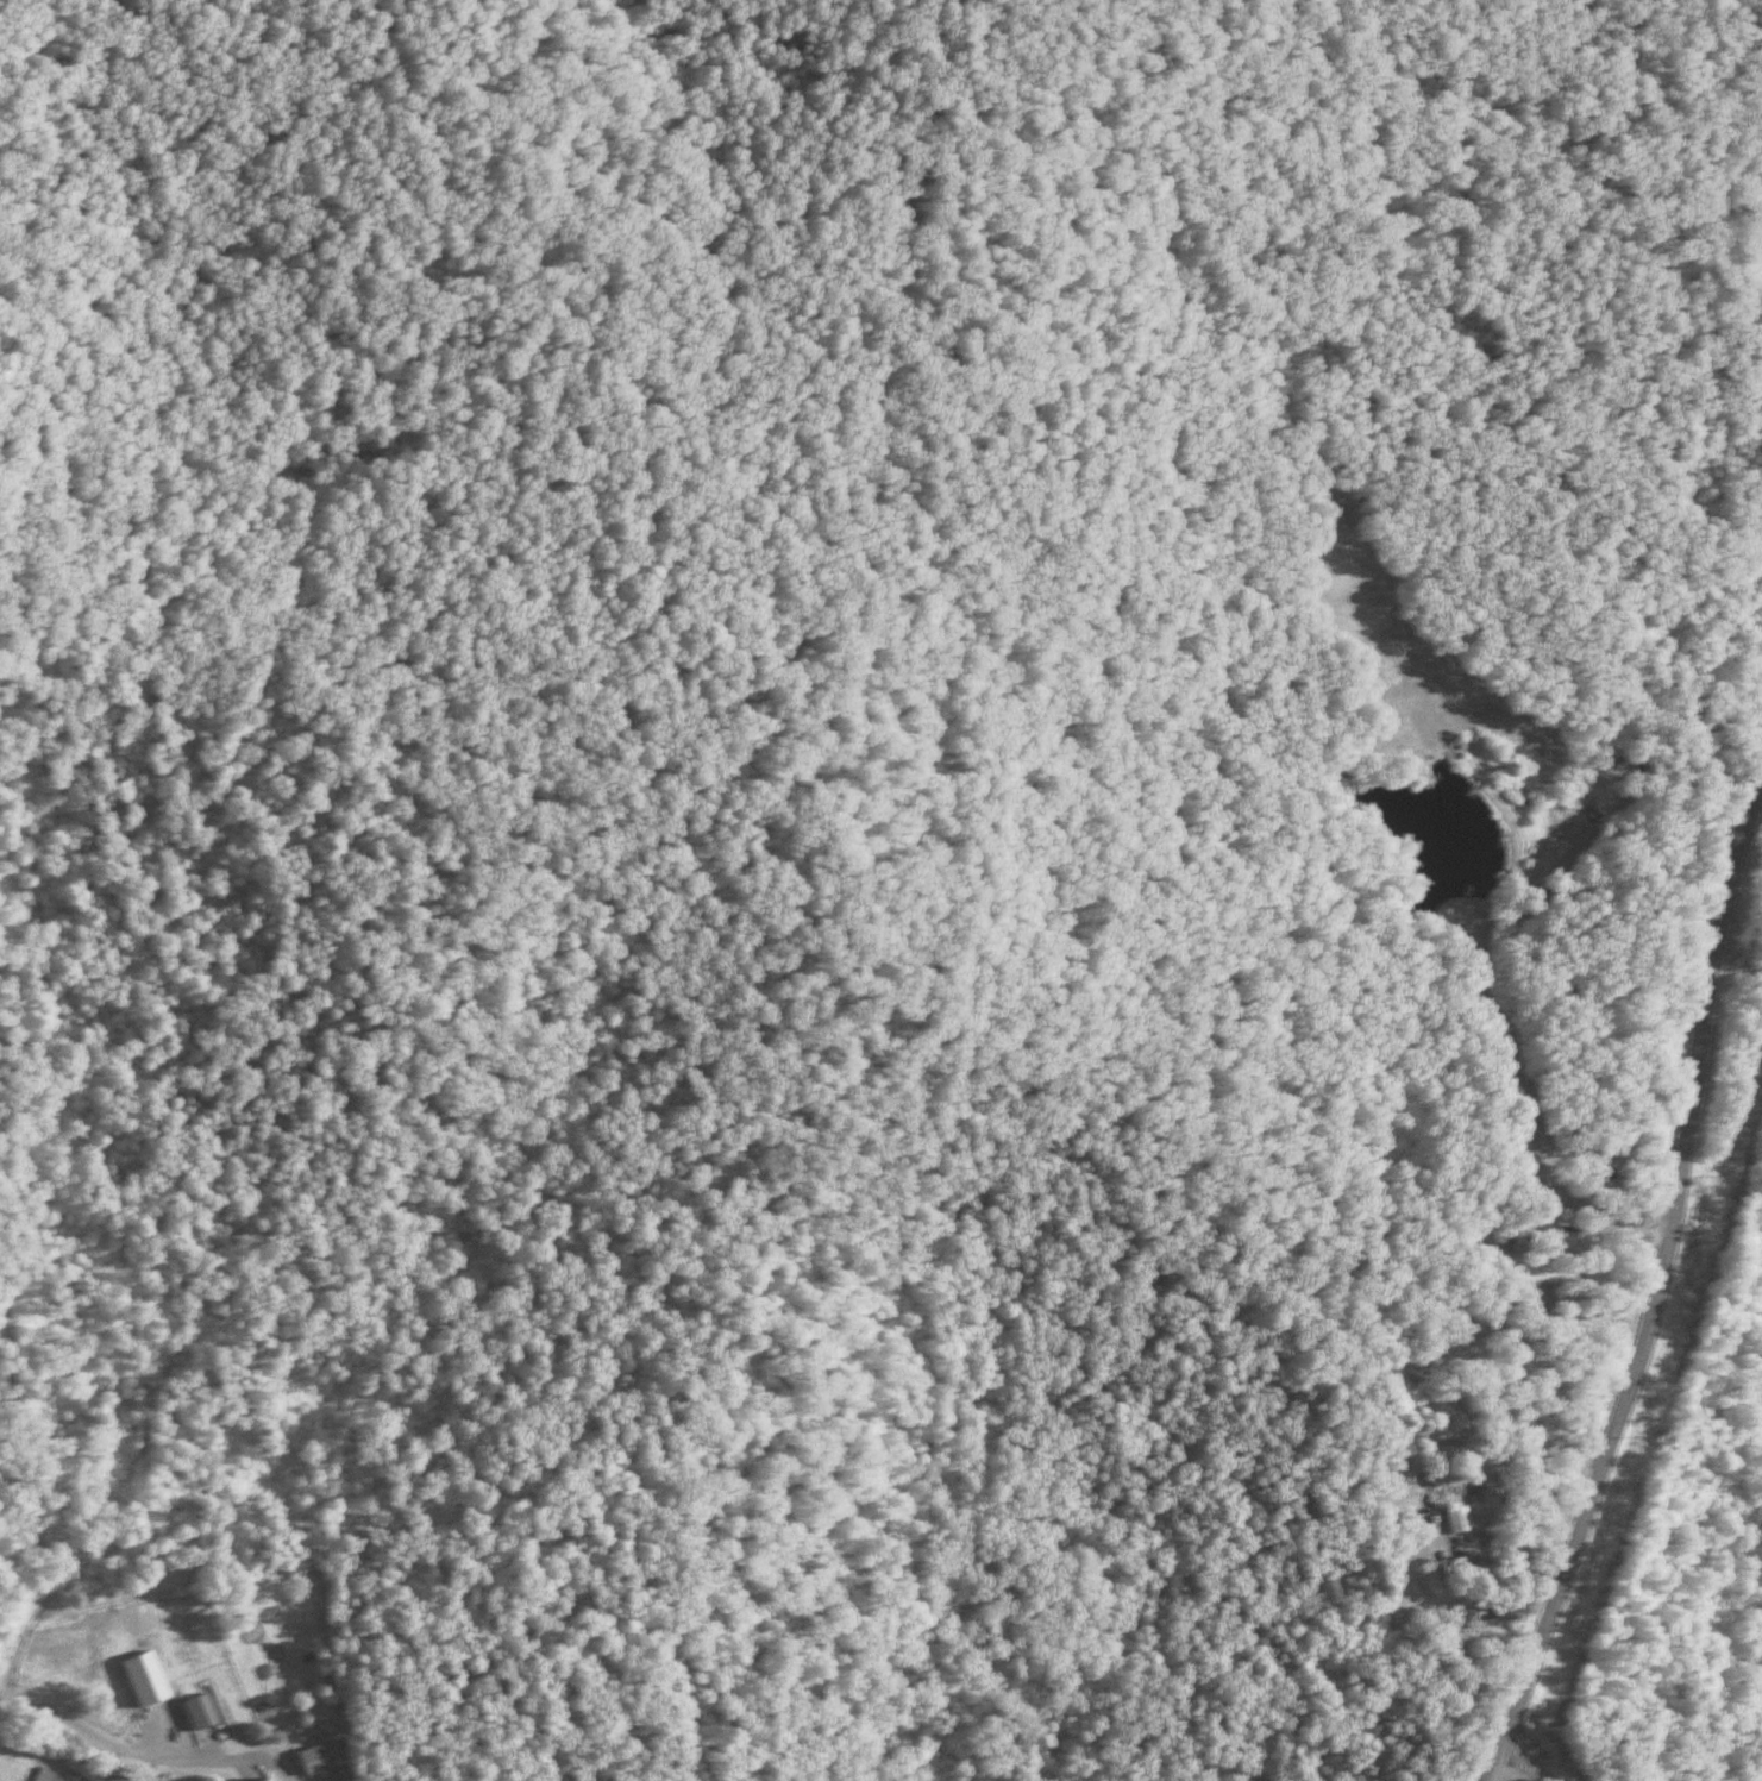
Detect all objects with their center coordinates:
road: (1756, 799)
building: (1544, 1206)
road: (1666, 1280)
building: (1446, 1519)
building: (197, 1712)
road: (140, 1755)
building: (313, 1758)

